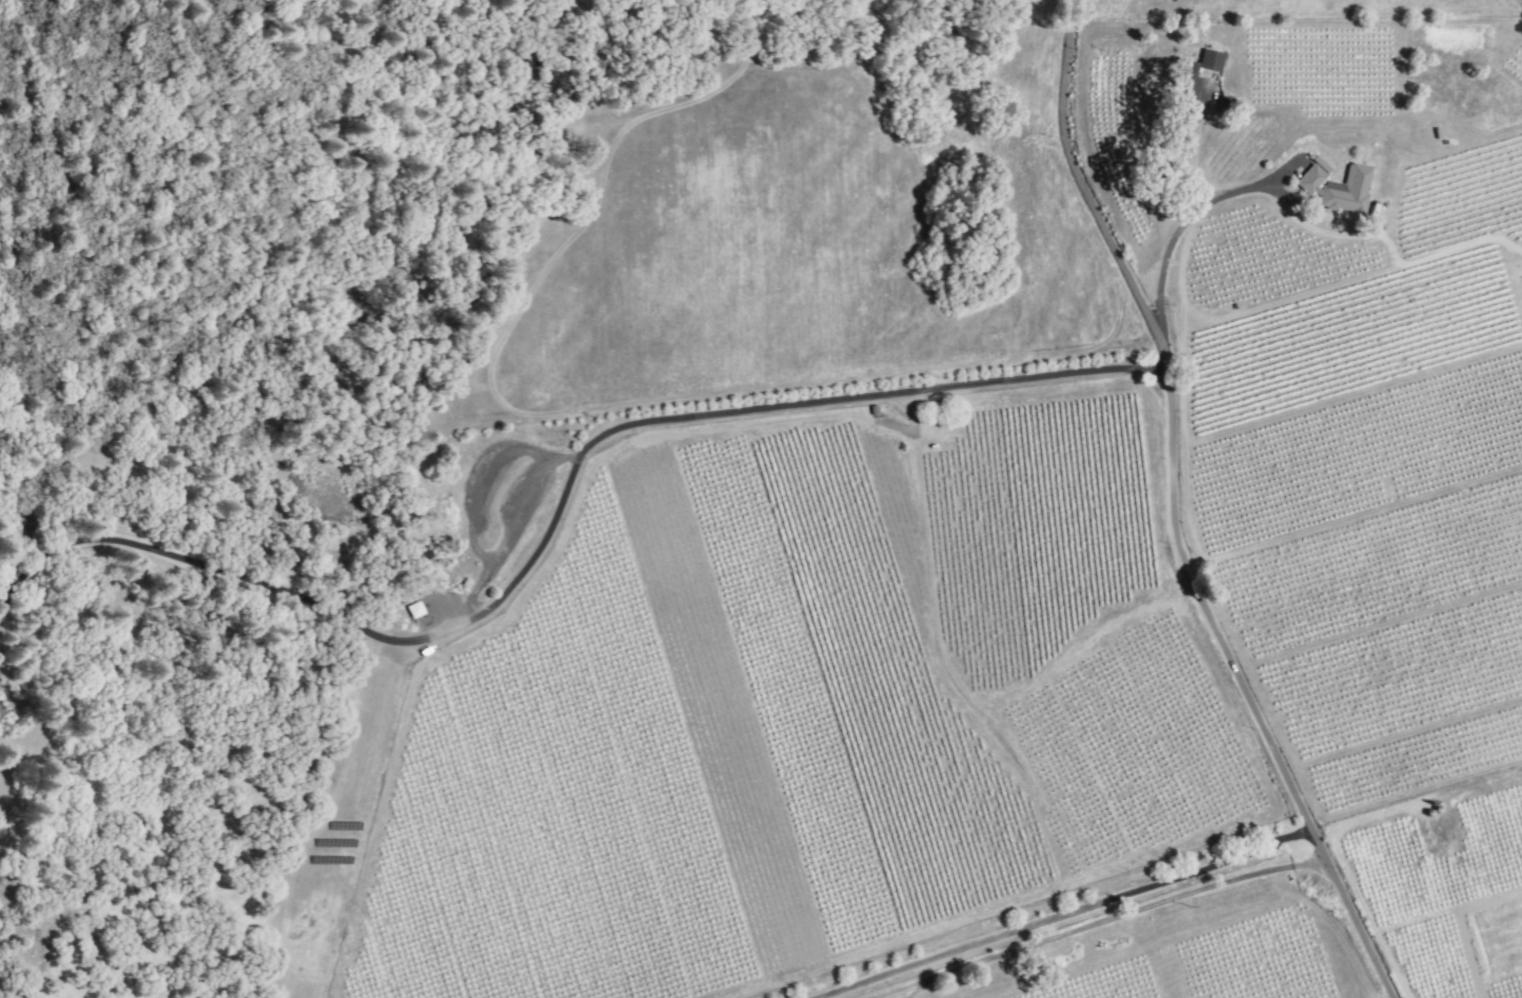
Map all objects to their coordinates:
building: (1209, 60)
building: (1191, 80)
building: (1336, 186)
road: (1183, 224)
road: (479, 486)
road: (554, 497)
road: (1182, 509)
road: (513, 523)
building: (415, 610)
road: (1067, 914)
road: (1125, 914)
road: (895, 987)
road: (915, 987)
road: (867, 997)

